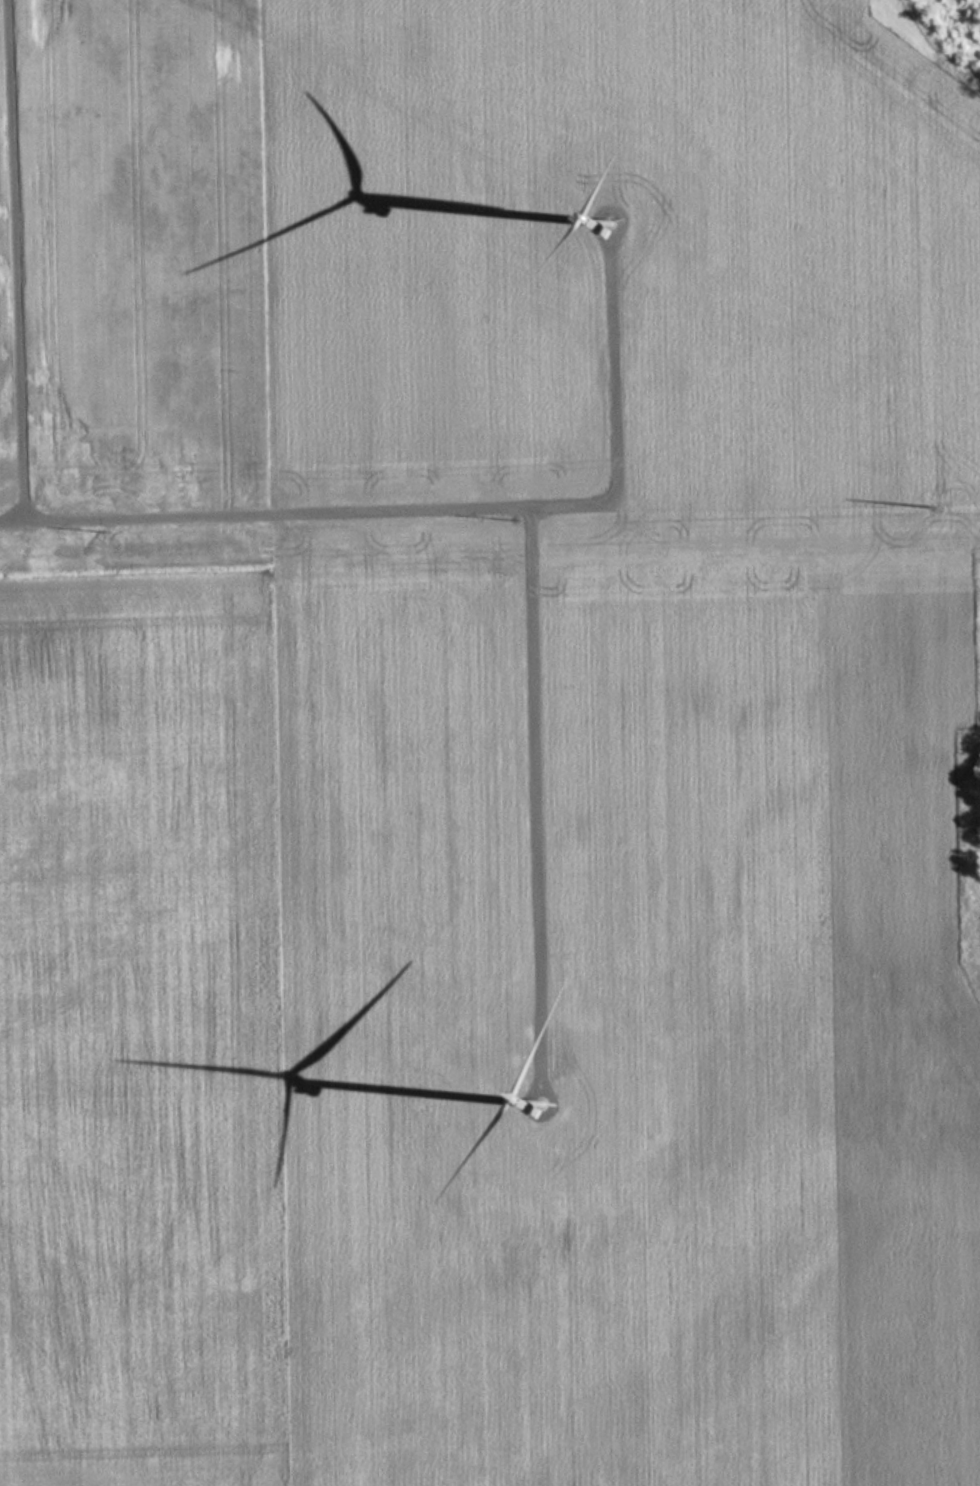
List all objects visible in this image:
wind turbine: (604, 233)
wind turbine: (520, 1101)

